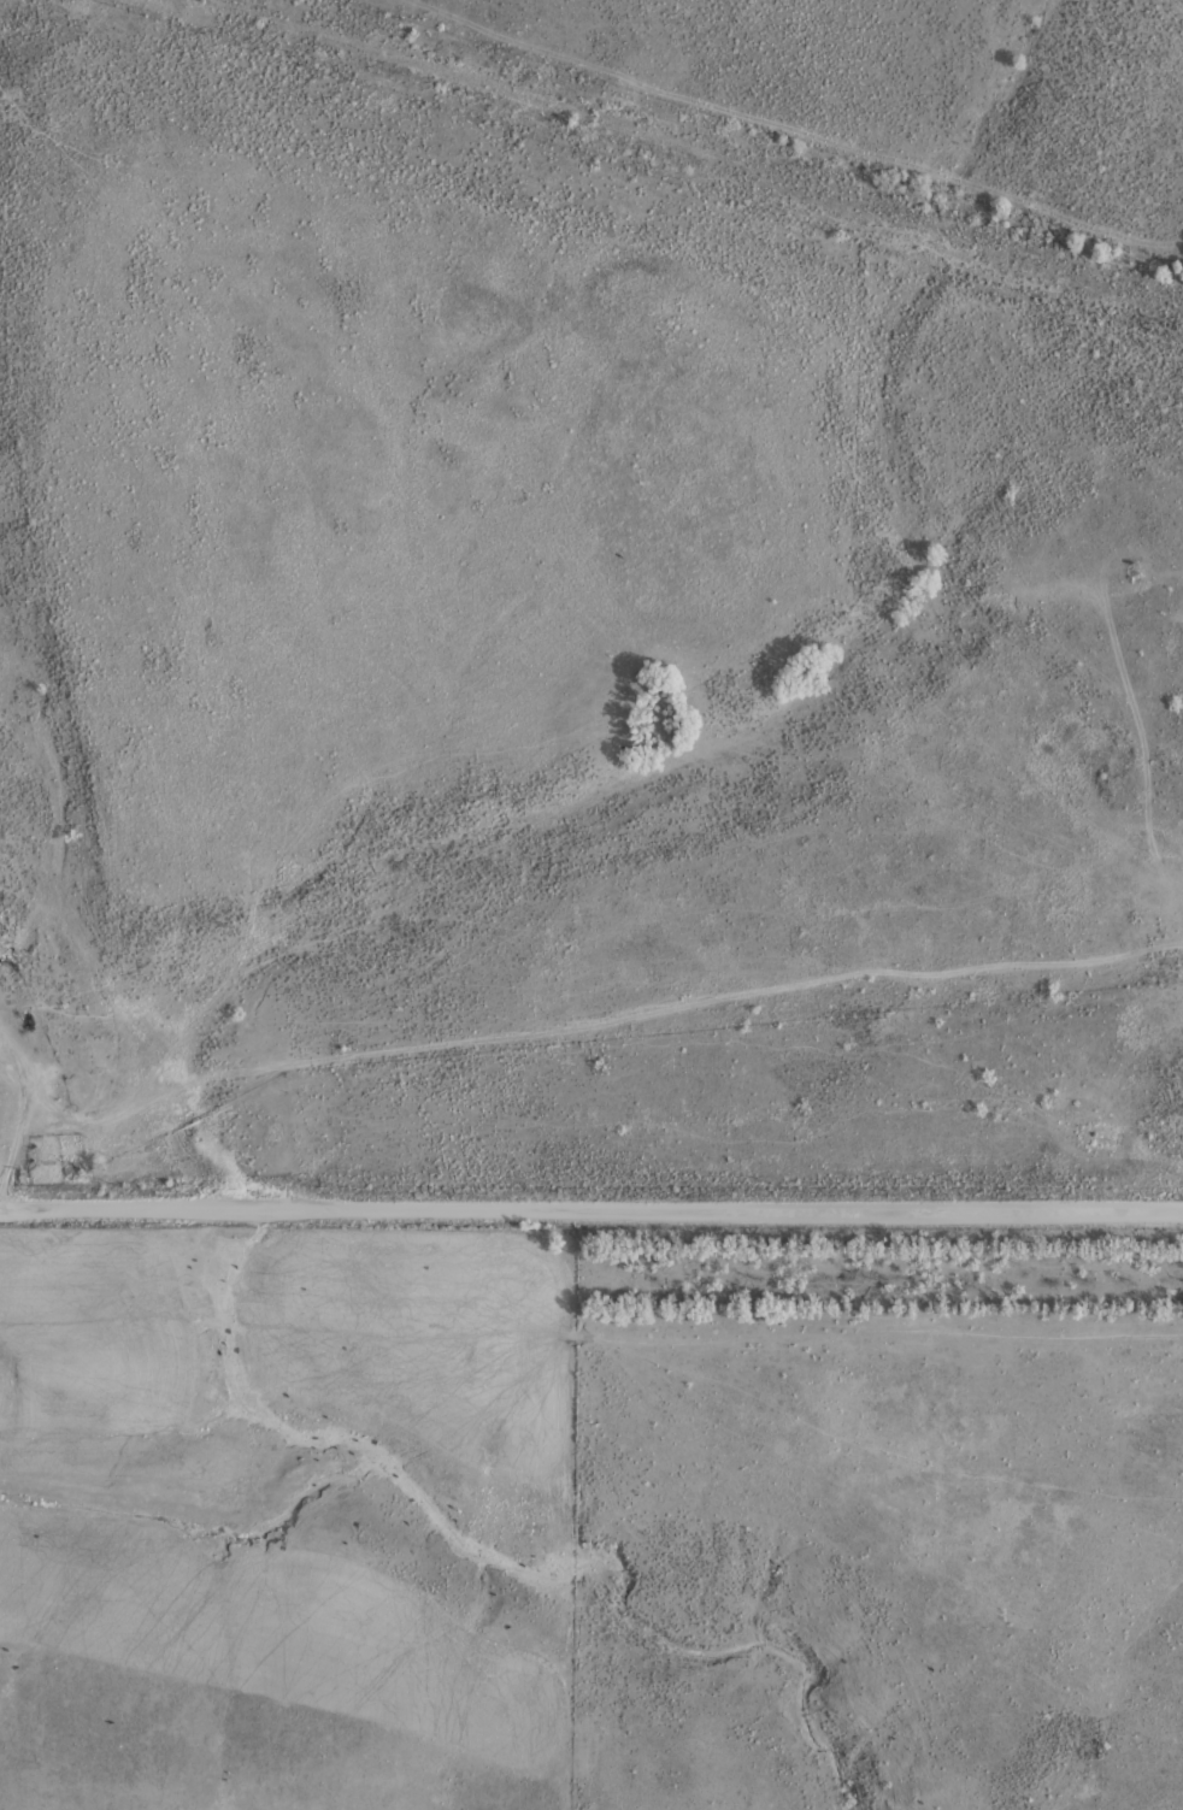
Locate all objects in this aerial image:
road: (591, 1207)

